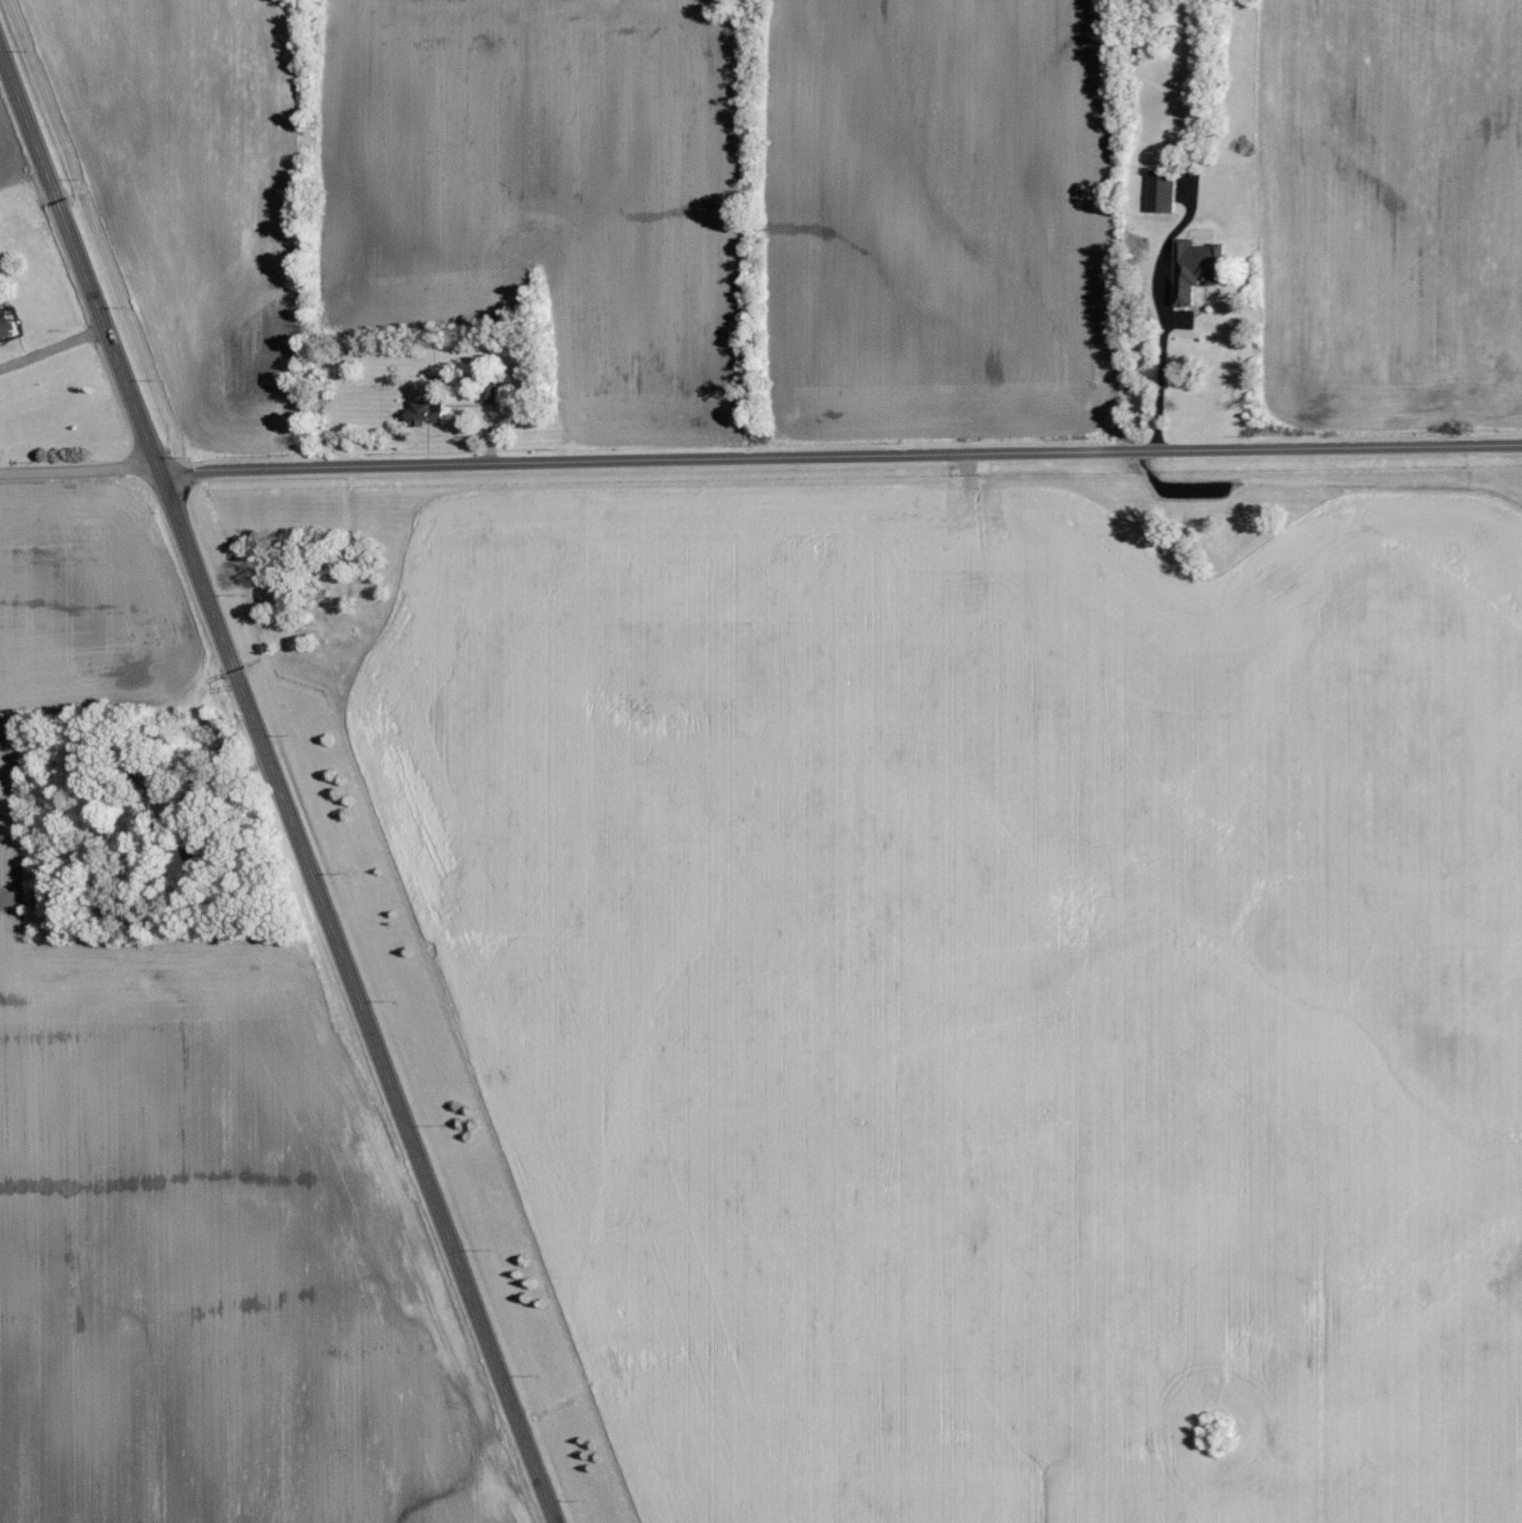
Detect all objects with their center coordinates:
building: (1165, 192)
building: (1200, 269)
building: (7, 324)
road: (51, 344)
road: (1161, 386)
building: (427, 412)
road: (843, 462)
road: (82, 475)
road: (278, 788)

